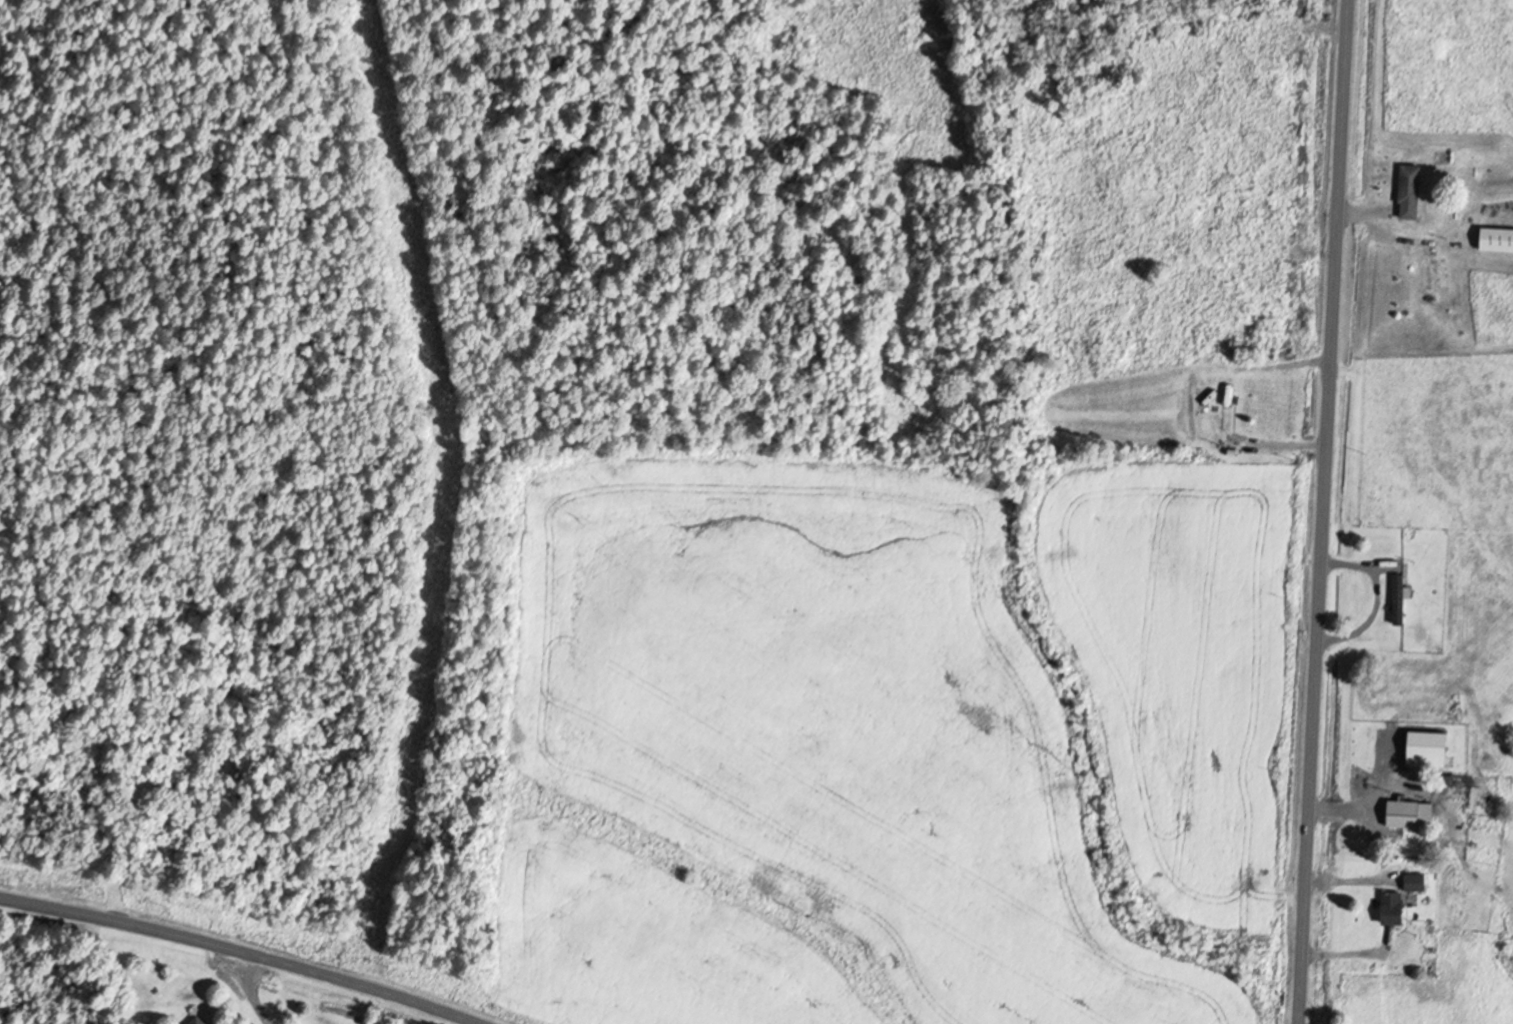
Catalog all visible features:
building: (1413, 191)
building: (1498, 239)
building: (1232, 449)
road: (1321, 511)
building: (1412, 814)
building: (1418, 882)
building: (1396, 908)
road: (245, 950)
road: (252, 990)
building: (201, 1020)

